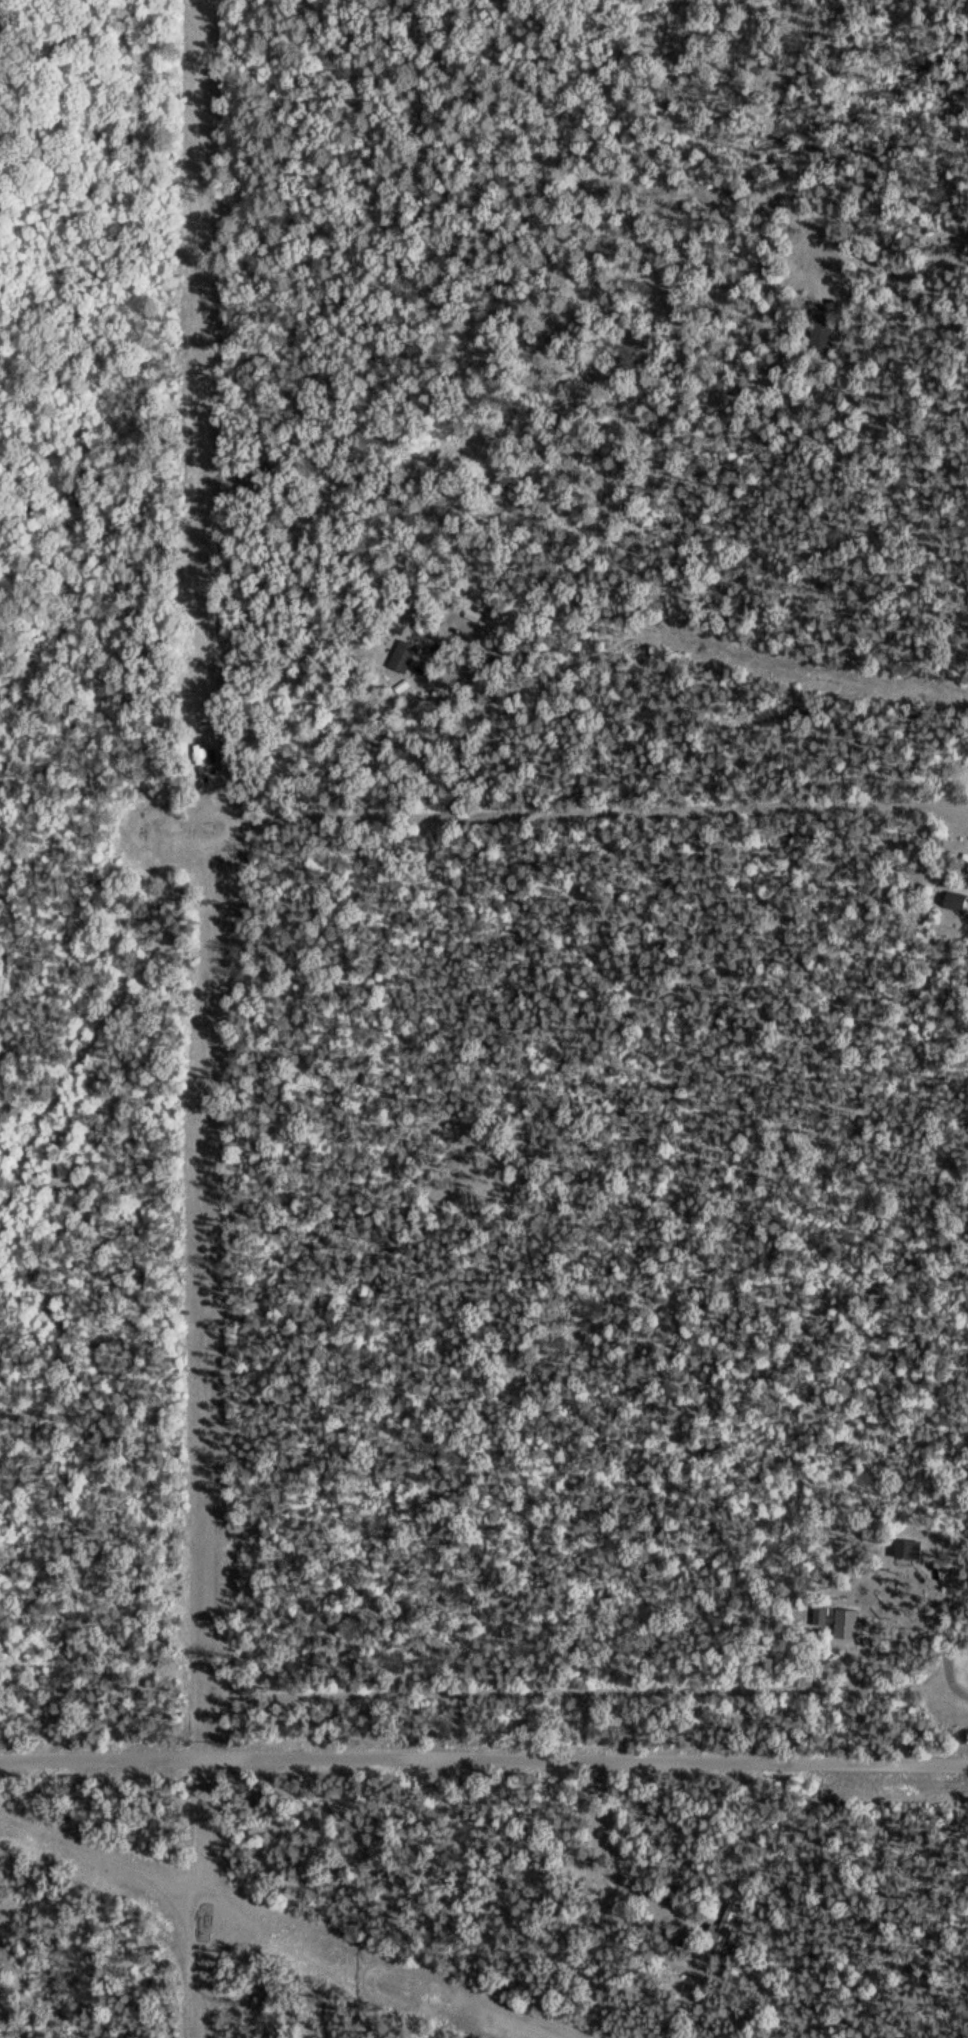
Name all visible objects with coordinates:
building: (820, 330)
road: (164, 417)
road: (601, 810)
building: (951, 902)
road: (105, 1007)
road: (214, 1289)
building: (905, 1550)
building: (844, 1624)
road: (582, 1690)
road: (483, 1760)
road: (101, 1859)
road: (195, 1898)
building: (723, 1926)

